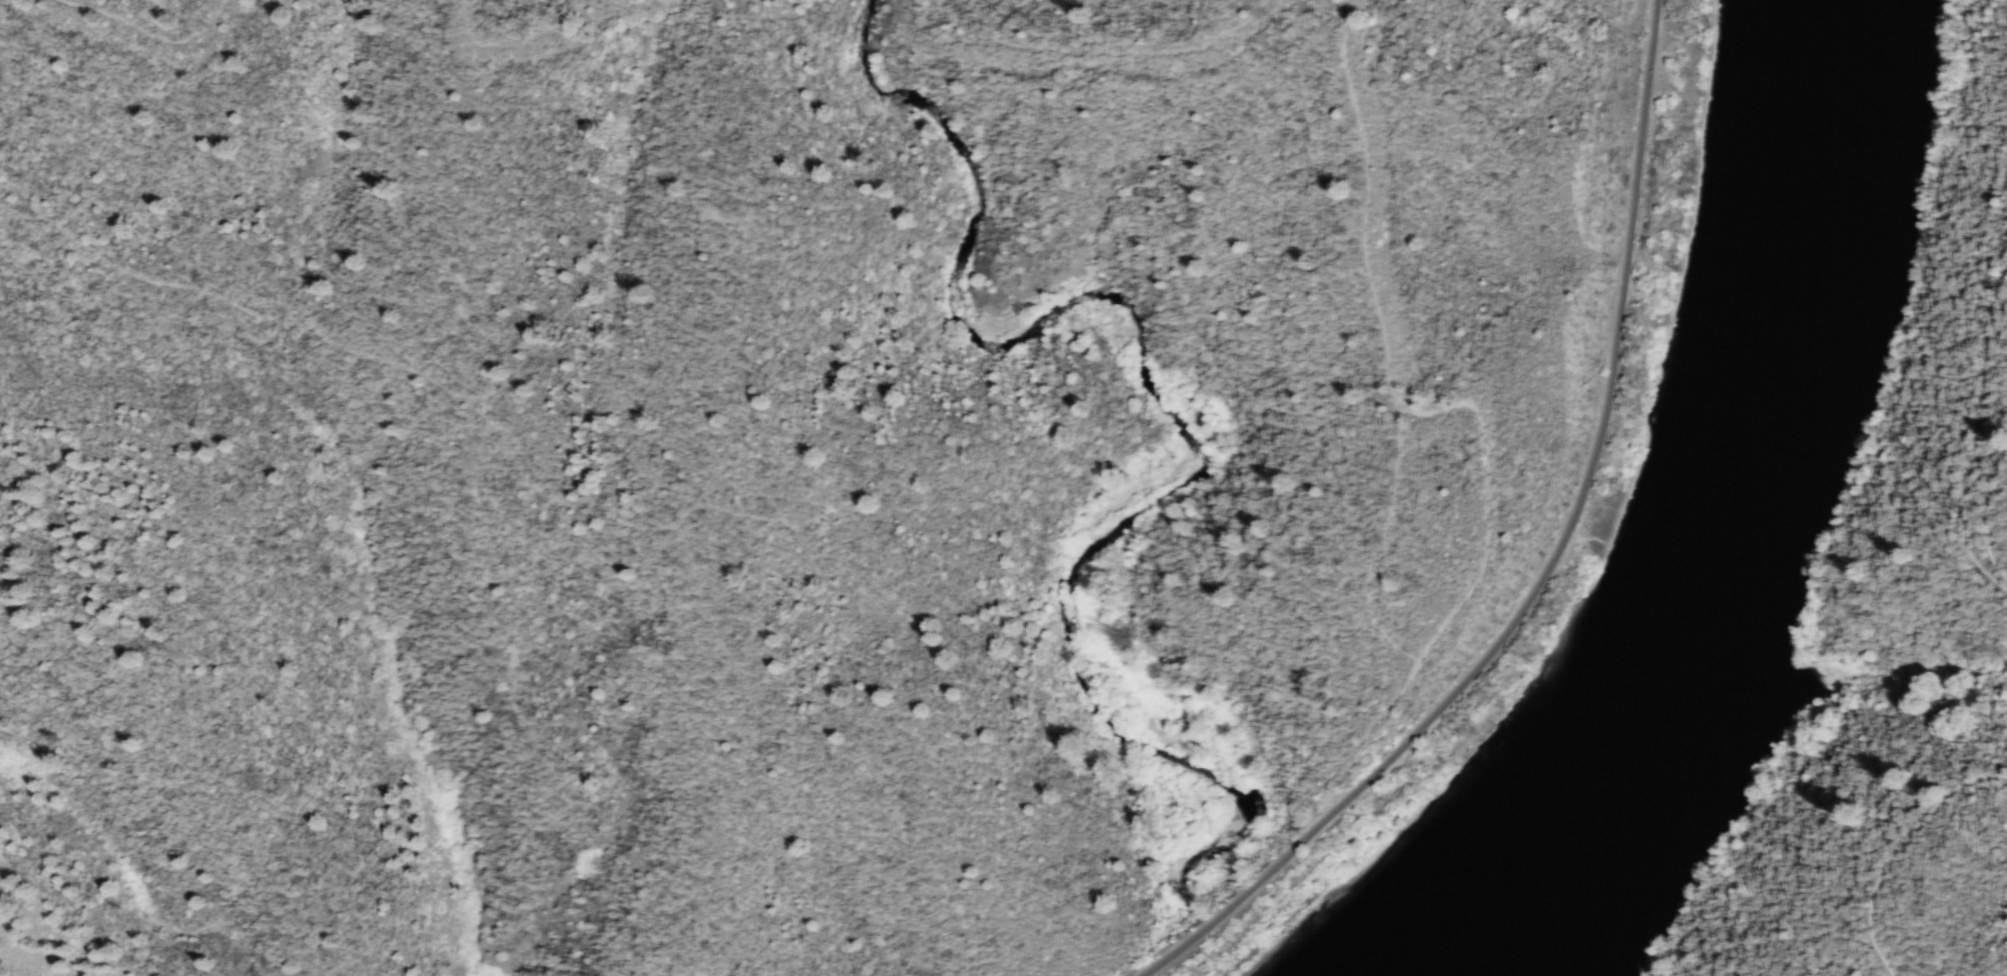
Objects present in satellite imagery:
road: (1984, 435)
river: (1726, 511)
road: (1991, 515)
road: (1548, 566)
road: (1902, 851)

